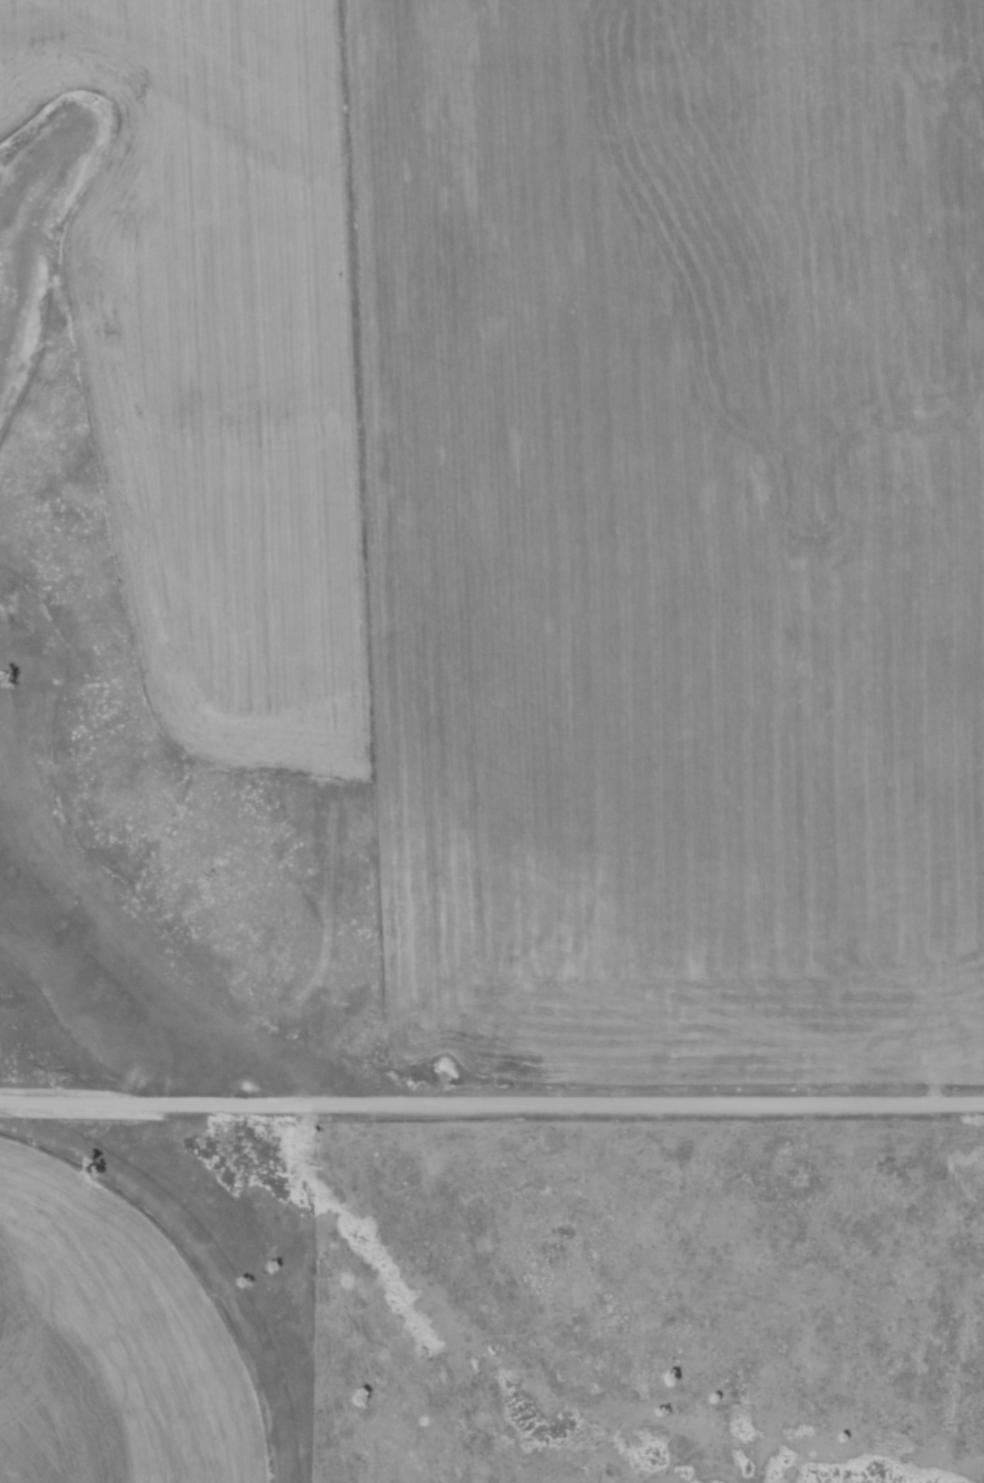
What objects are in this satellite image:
road: (491, 1109)

